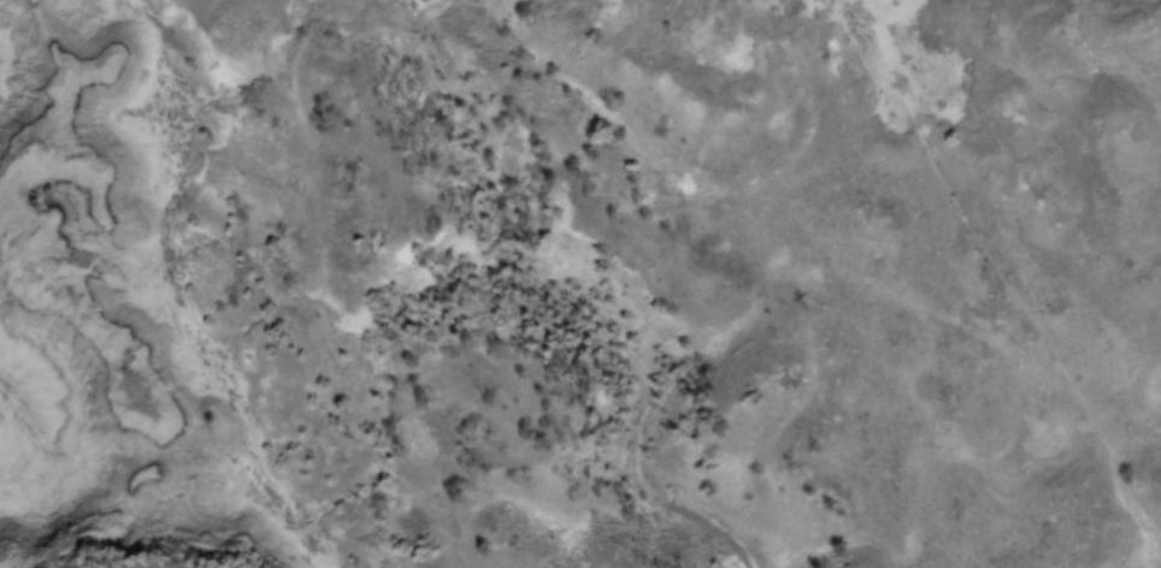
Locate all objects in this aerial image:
road: (1042, 274)

